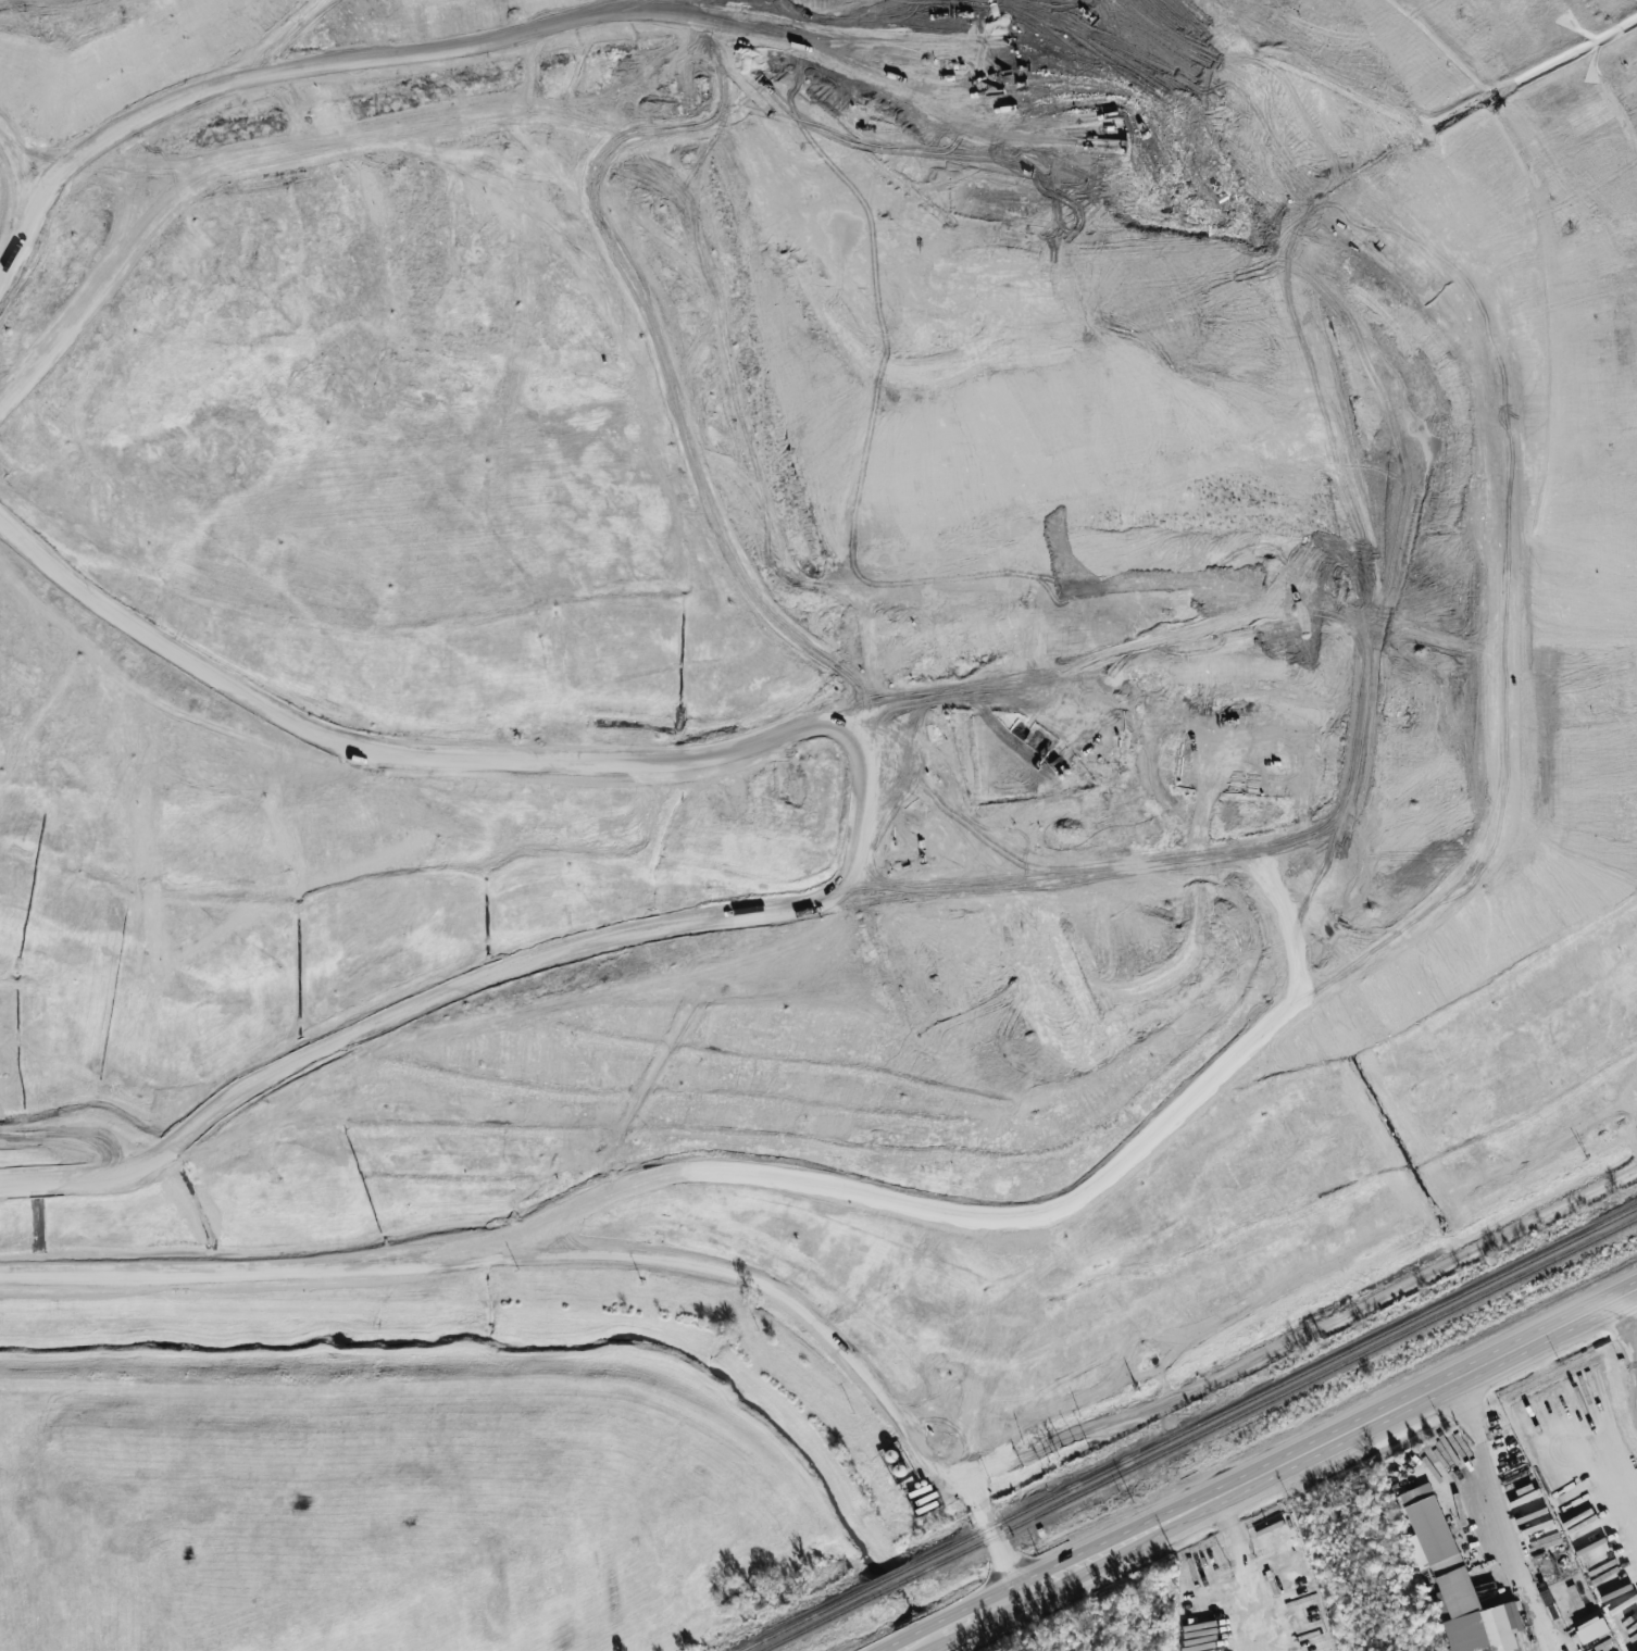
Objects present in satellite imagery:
landfill: (816, 663)
road: (864, 714)
road: (595, 1244)
road: (1626, 1319)
road: (1307, 1333)
railway: (1188, 1427)
railway: (1198, 1434)
road: (1272, 1469)
road: (1501, 1513)
road: (1597, 1543)
road: (1245, 1574)
building: (1455, 1579)
building: (1590, 1627)

